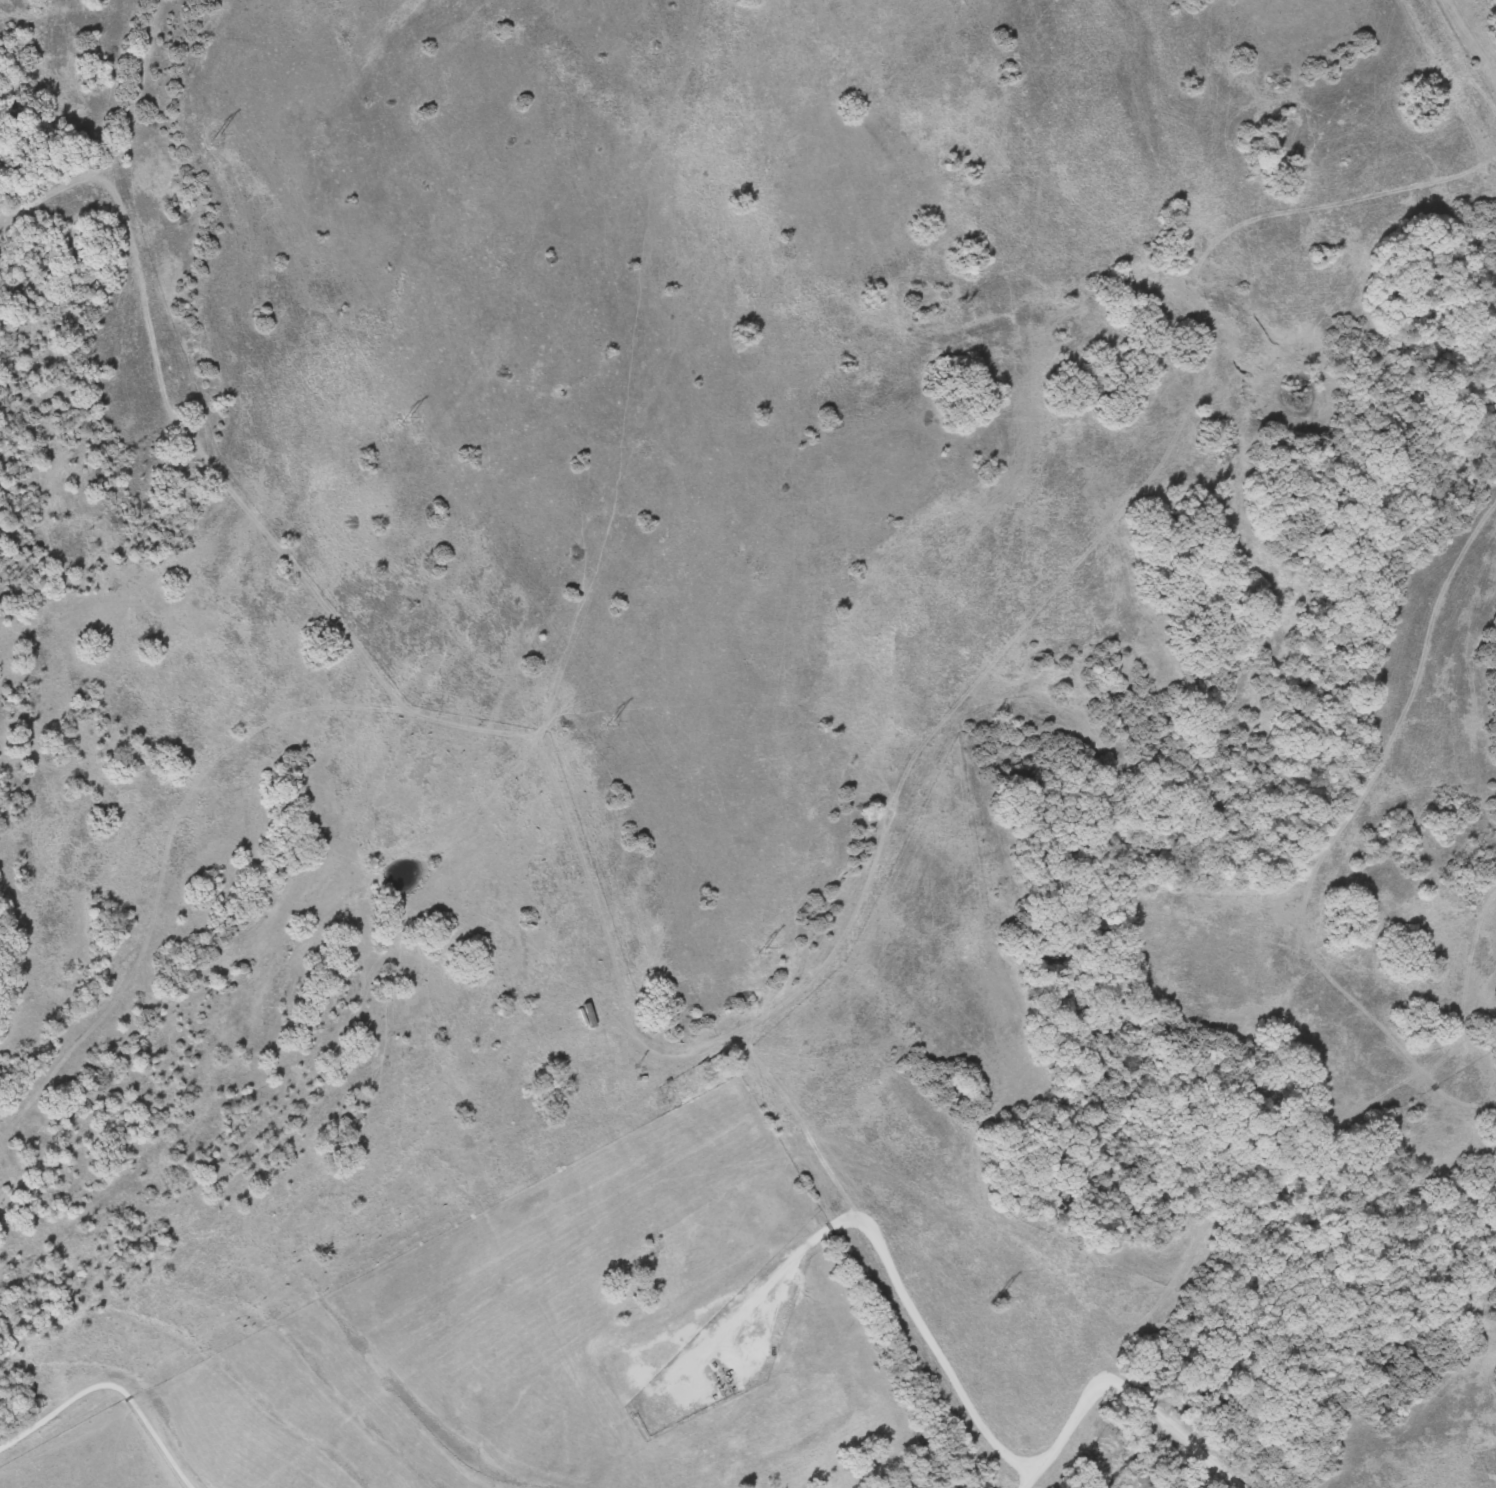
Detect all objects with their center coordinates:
road: (113, 1381)
road: (1126, 1385)

